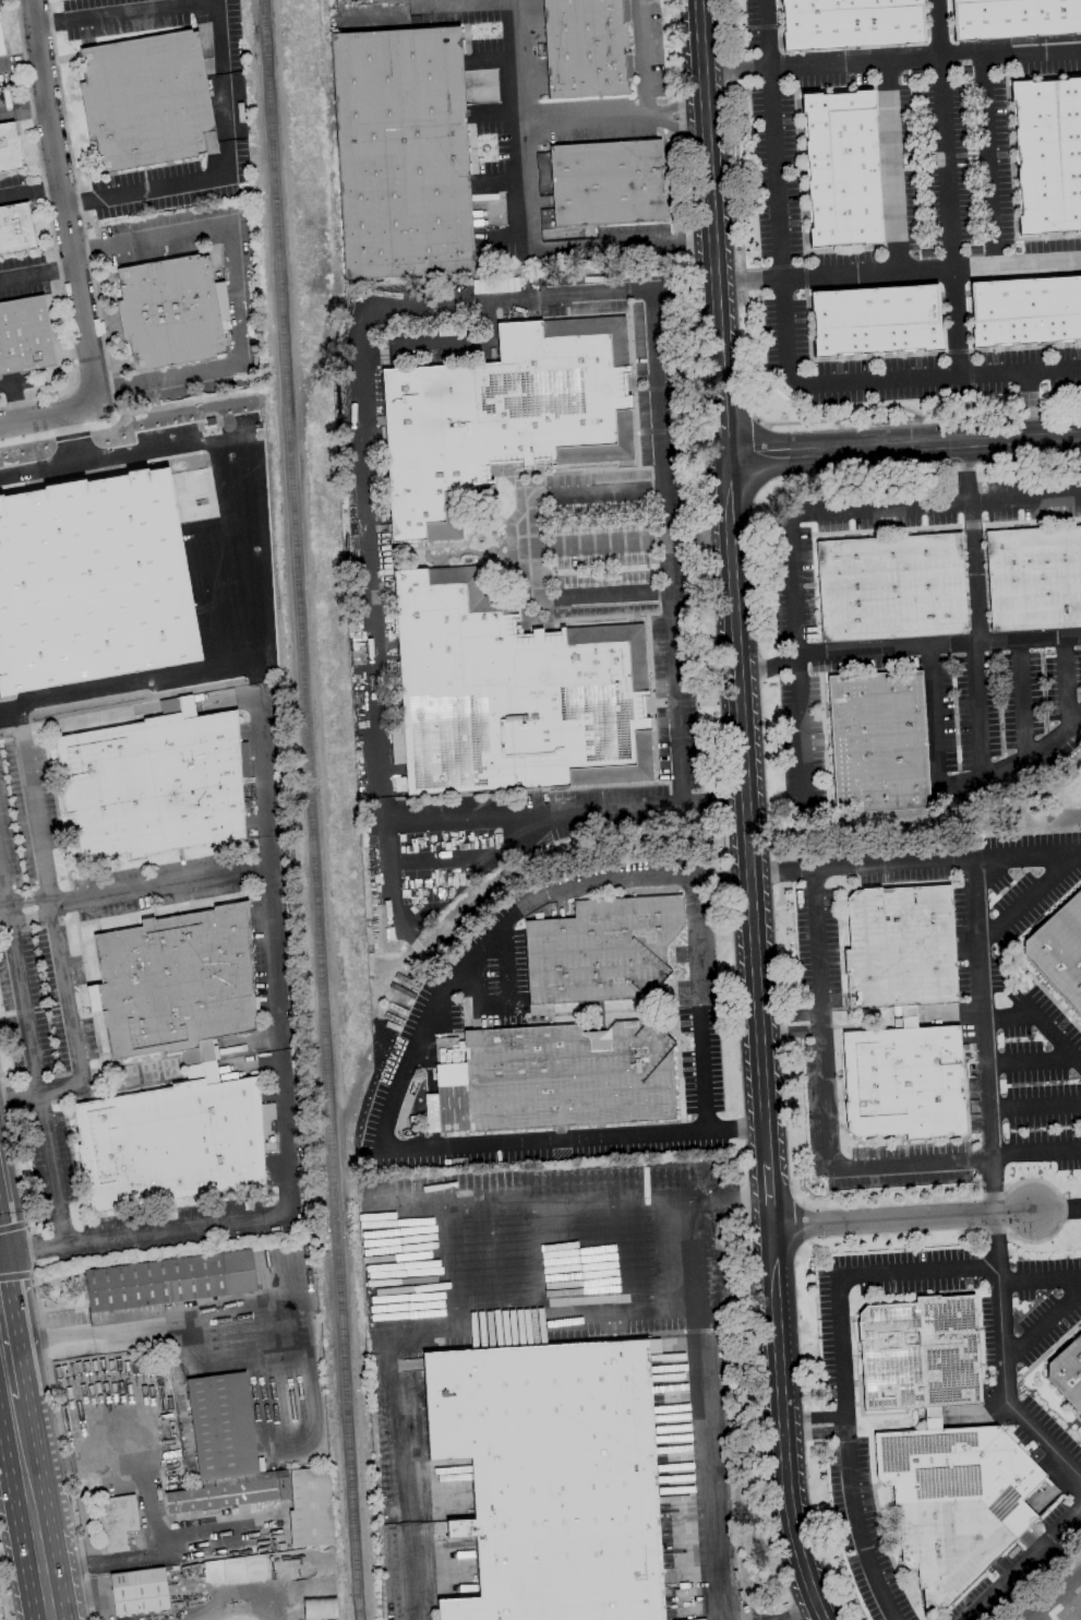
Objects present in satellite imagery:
road: (427, 7)
road: (157, 9)
building: (1013, 19)
building: (850, 23)
building: (1, 45)
building: (586, 48)
road: (642, 59)
road: (891, 59)
building: (145, 100)
road: (221, 104)
road: (674, 107)
road: (24, 109)
road: (581, 120)
road: (675, 126)
road: (307, 141)
building: (9, 148)
building: (401, 153)
building: (1048, 155)
road: (987, 160)
road: (890, 167)
building: (841, 169)
road: (708, 181)
building: (608, 182)
road: (160, 187)
road: (945, 188)
road: (64, 203)
road: (524, 218)
building: (15, 229)
road: (314, 240)
road: (335, 258)
road: (91, 266)
road: (37, 272)
road: (898, 274)
road: (236, 293)
building: (171, 311)
building: (1025, 311)
building: (876, 320)
building: (24, 335)
road: (782, 336)
road: (446, 344)
road: (359, 404)
road: (722, 409)
building: (505, 413)
road: (48, 415)
road: (72, 438)
road: (902, 445)
road: (1024, 499)
road: (527, 527)
road: (791, 534)
road: (249, 550)
building: (1034, 577)
building: (92, 582)
building: (891, 587)
road: (578, 595)
road: (976, 638)
road: (1005, 642)
road: (767, 667)
building: (512, 692)
road: (798, 719)
building: (878, 741)
road: (261, 771)
building: (154, 783)
road: (953, 786)
road: (32, 806)
railway: (309, 809)
road: (745, 811)
road: (454, 814)
railway: (1071, 823)
road: (1028, 856)
road: (24, 898)
road: (1029, 898)
road: (26, 916)
building: (900, 946)
building: (601, 950)
building: (1059, 951)
building: (176, 984)
road: (698, 1003)
road: (68, 1012)
road: (791, 1016)
building: (908, 1016)
road: (1040, 1021)
road: (792, 1033)
road: (277, 1040)
road: (1028, 1063)
road: (986, 1074)
building: (558, 1077)
building: (903, 1082)
road: (37, 1083)
road: (396, 1087)
road: (19, 1095)
road: (1035, 1109)
building: (171, 1141)
road: (831, 1144)
road: (767, 1195)
road: (729, 1199)
road: (532, 1206)
road: (1058, 1210)
road: (902, 1218)
road: (13, 1227)
road: (2, 1236)
road: (2, 1254)
traffic signals: (4, 1254)
road: (15, 1275)
building: (169, 1280)
road: (1040, 1280)
road: (11, 1295)
road: (543, 1325)
road: (1042, 1329)
road: (135, 1330)
road: (1, 1333)
road: (48, 1341)
road: (44, 1347)
building: (920, 1354)
road: (842, 1369)
building: (1067, 1372)
road: (10, 1377)
road: (706, 1410)
road: (814, 1418)
building: (932, 1418)
building: (221, 1426)
road: (782, 1426)
road: (815, 1434)
road: (22, 1445)
building: (552, 1478)
road: (406, 1480)
building: (230, 1492)
building: (954, 1501)
road: (143, 1503)
building: (311, 1508)
building: (118, 1524)
road: (38, 1545)
road: (1023, 1564)
building: (139, 1591)
road: (4, 1593)
road: (1052, 1595)
road: (231, 1596)
road: (1070, 1601)
road: (801, 1613)

